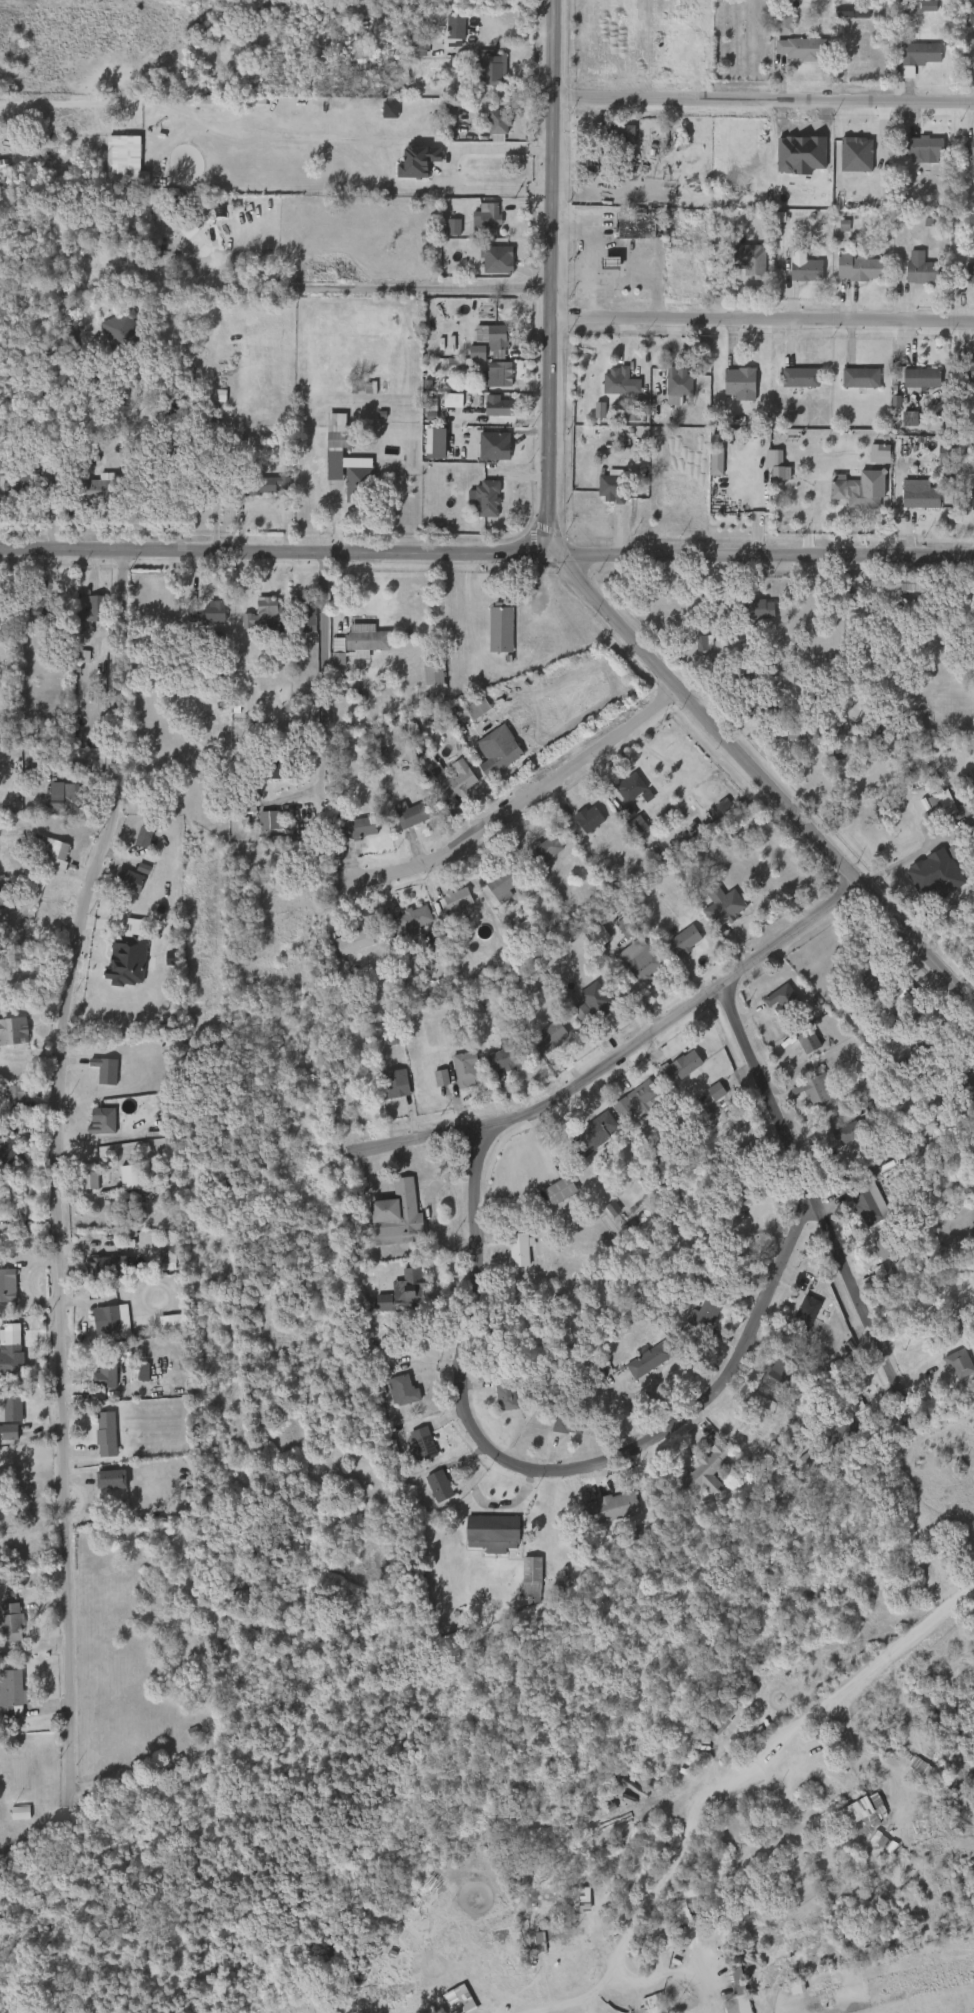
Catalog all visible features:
building: (970, 8)
building: (850, 9)
building: (351, 13)
building: (840, 15)
building: (340, 18)
building: (458, 26)
building: (774, 29)
building: (445, 32)
building: (806, 48)
building: (922, 53)
building: (492, 67)
road: (763, 99)
building: (208, 107)
building: (380, 115)
building: (500, 121)
building: (489, 127)
building: (617, 133)
building: (925, 146)
building: (970, 148)
building: (914, 155)
building: (119, 164)
building: (408, 167)
road: (442, 170)
building: (164, 209)
building: (485, 217)
building: (151, 220)
building: (637, 225)
building: (444, 232)
road: (578, 250)
building: (499, 259)
building: (757, 262)
building: (488, 265)
building: (858, 266)
building: (600, 268)
building: (921, 269)
building: (805, 270)
building: (746, 271)
building: (127, 272)
building: (970, 274)
road: (609, 286)
road: (356, 287)
road: (762, 322)
building: (122, 332)
building: (498, 337)
building: (74, 342)
building: (488, 342)
building: (467, 357)
building: (488, 359)
building: (968, 369)
building: (500, 373)
building: (799, 376)
building: (860, 376)
building: (921, 377)
building: (488, 380)
building: (618, 380)
building: (739, 382)
building: (851, 383)
building: (676, 384)
building: (911, 384)
building: (362, 386)
building: (442, 406)
building: (500, 408)
building: (488, 412)
building: (421, 416)
building: (899, 424)
building: (327, 436)
building: (426, 448)
building: (85, 456)
road: (143, 462)
building: (348, 468)
building: (769, 472)
building: (200, 478)
building: (53, 484)
building: (161, 484)
building: (268, 486)
building: (613, 486)
building: (19, 488)
building: (861, 490)
building: (99, 491)
building: (260, 492)
building: (959, 492)
building: (601, 493)
building: (486, 497)
building: (923, 497)
building: (973, 498)
building: (910, 503)
road: (487, 551)
road: (573, 576)
building: (912, 583)
building: (48, 609)
building: (758, 610)
building: (93, 612)
building: (209, 613)
building: (262, 613)
building: (305, 613)
building: (30, 616)
building: (198, 618)
building: (500, 628)
building: (355, 639)
building: (536, 643)
building: (329, 656)
road: (326, 664)
building: (430, 671)
building: (764, 707)
building: (479, 708)
building: (468, 715)
building: (499, 751)
building: (278, 769)
building: (267, 775)
building: (449, 775)
building: (446, 784)
building: (627, 794)
building: (72, 797)
building: (56, 800)
road: (518, 804)
building: (932, 810)
building: (412, 816)
building: (586, 820)
building: (356, 826)
building: (628, 831)
building: (134, 842)
building: (549, 847)
road: (917, 851)
building: (537, 854)
building: (57, 855)
building: (43, 858)
building: (937, 867)
building: (131, 880)
building: (501, 881)
building: (119, 885)
building: (6, 892)
building: (457, 900)
building: (724, 905)
building: (412, 919)
building: (615, 932)
building: (355, 940)
building: (686, 940)
building: (590, 941)
building: (645, 964)
building: (118, 965)
building: (862, 984)
building: (908, 991)
building: (895, 997)
building: (784, 999)
building: (593, 1003)
building: (772, 1005)
building: (908, 1021)
building: (15, 1030)
building: (554, 1034)
building: (934, 1038)
building: (541, 1041)
building: (798, 1047)
building: (509, 1056)
road: (619, 1056)
building: (493, 1062)
building: (681, 1067)
building: (467, 1069)
building: (108, 1070)
building: (96, 1075)
building: (456, 1075)
building: (655, 1075)
building: (397, 1084)
building: (965, 1084)
building: (385, 1089)
building: (815, 1089)
building: (14, 1094)
building: (644, 1095)
building: (105, 1122)
building: (93, 1126)
building: (849, 1132)
building: (594, 1134)
building: (7, 1152)
road: (58, 1174)
building: (126, 1177)
building: (80, 1185)
building: (747, 1185)
building: (562, 1190)
road: (812, 1195)
building: (868, 1204)
building: (602, 1214)
building: (399, 1215)
building: (388, 1244)
building: (519, 1248)
building: (885, 1248)
building: (872, 1254)
building: (106, 1264)
building: (10, 1285)
building: (407, 1293)
building: (706, 1314)
building: (811, 1315)
building: (796, 1318)
building: (694, 1319)
building: (113, 1320)
building: (161, 1327)
building: (6, 1354)
building: (15, 1358)
building: (650, 1359)
building: (958, 1362)
building: (111, 1372)
building: (777, 1376)
building: (95, 1380)
building: (402, 1390)
building: (507, 1392)
building: (496, 1401)
building: (13, 1408)
building: (569, 1423)
building: (558, 1429)
building: (846, 1431)
building: (107, 1434)
building: (4, 1436)
building: (832, 1437)
building: (97, 1439)
building: (422, 1442)
building: (407, 1449)
building: (705, 1470)
road: (552, 1471)
building: (116, 1479)
building: (102, 1484)
building: (438, 1485)
building: (429, 1491)
building: (613, 1509)
building: (490, 1531)
building: (529, 1575)
building: (13, 1621)
road: (874, 1667)
building: (14, 1693)
building: (742, 1796)
building: (864, 1814)
building: (612, 1836)
building: (878, 1850)
road: (660, 1881)
building: (601, 1895)
building: (414, 1896)
building: (528, 1944)
road: (661, 1976)
building: (531, 1978)
building: (729, 2000)

